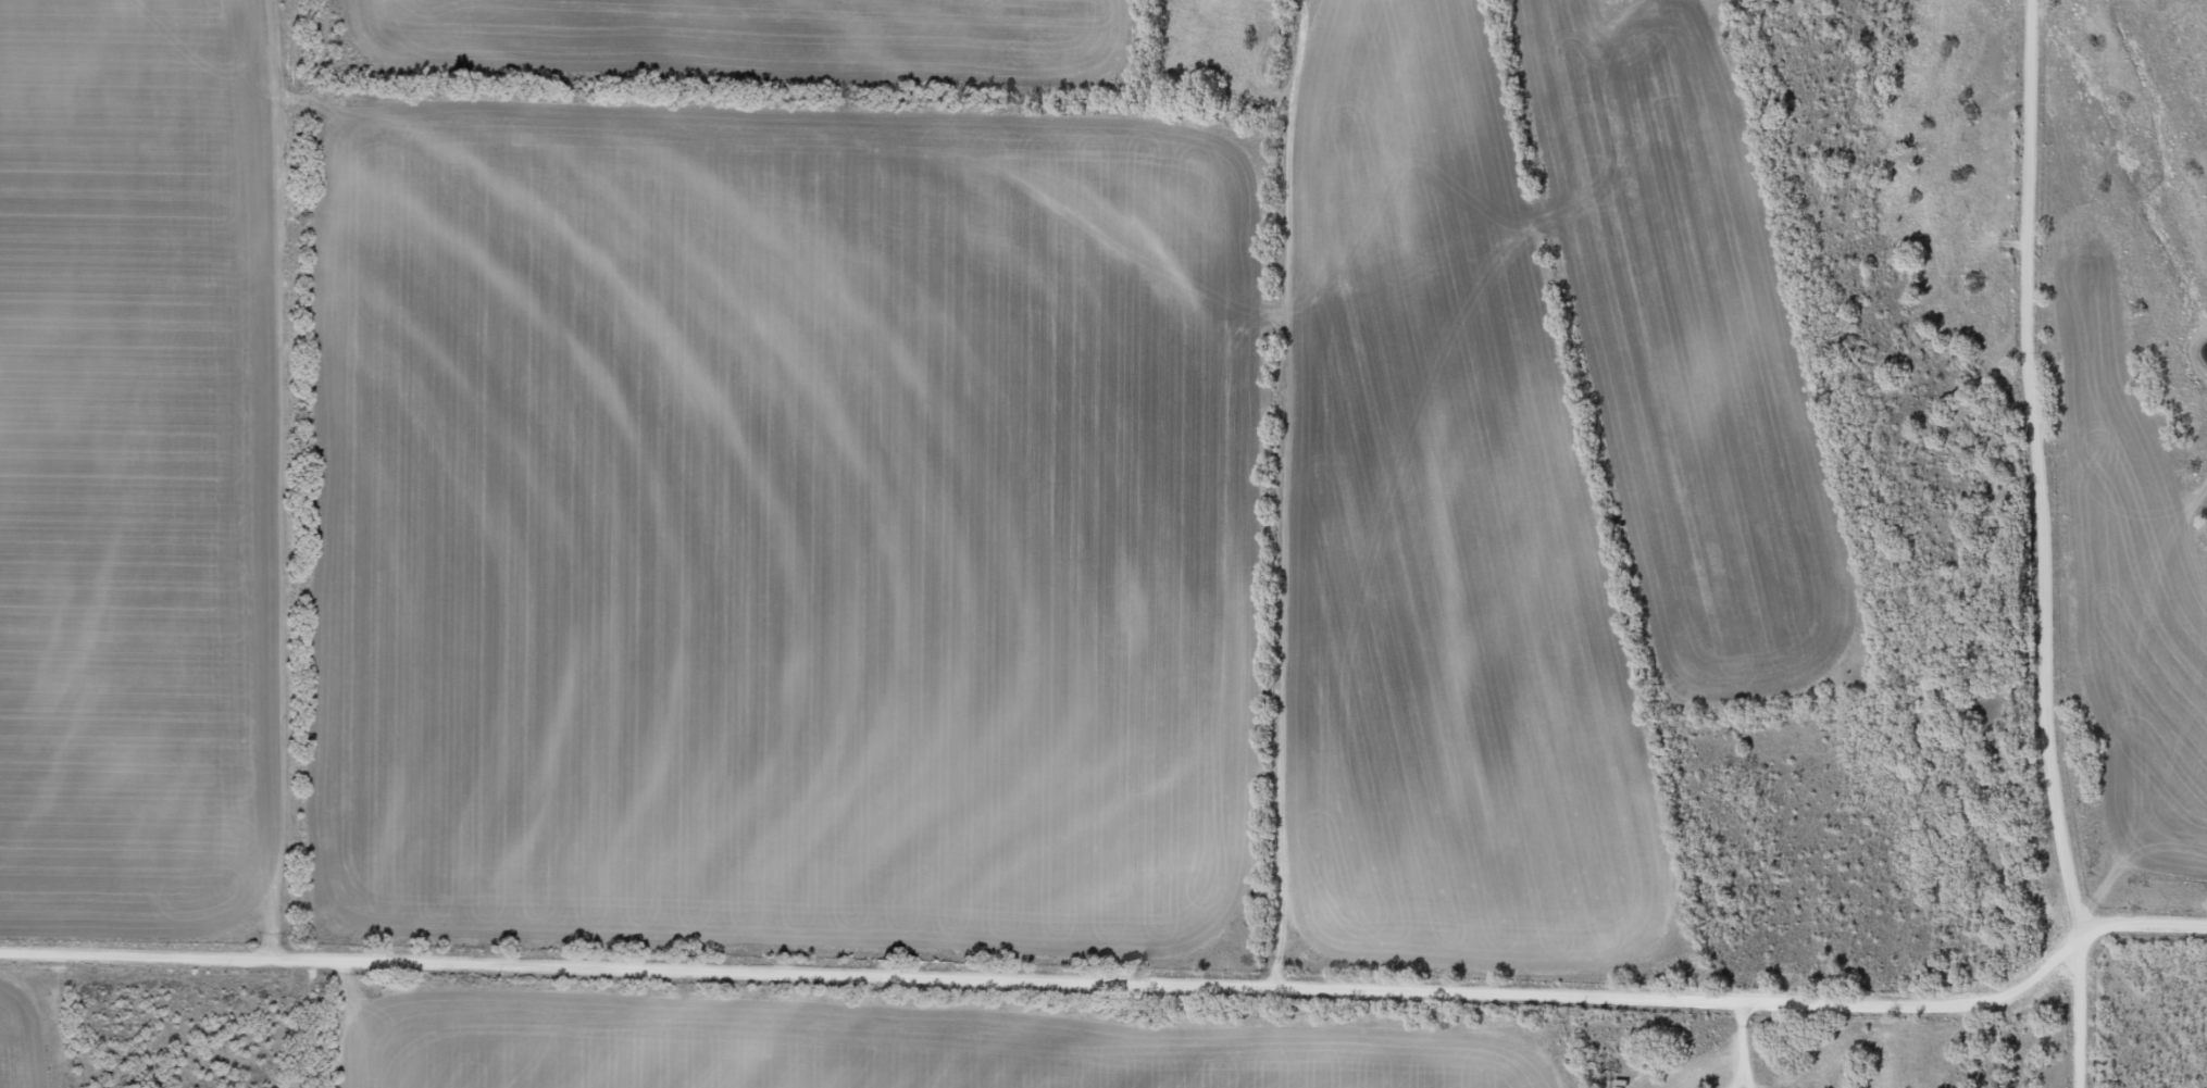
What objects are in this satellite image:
road: (1856, 171)
road: (2041, 545)
road: (1117, 986)

